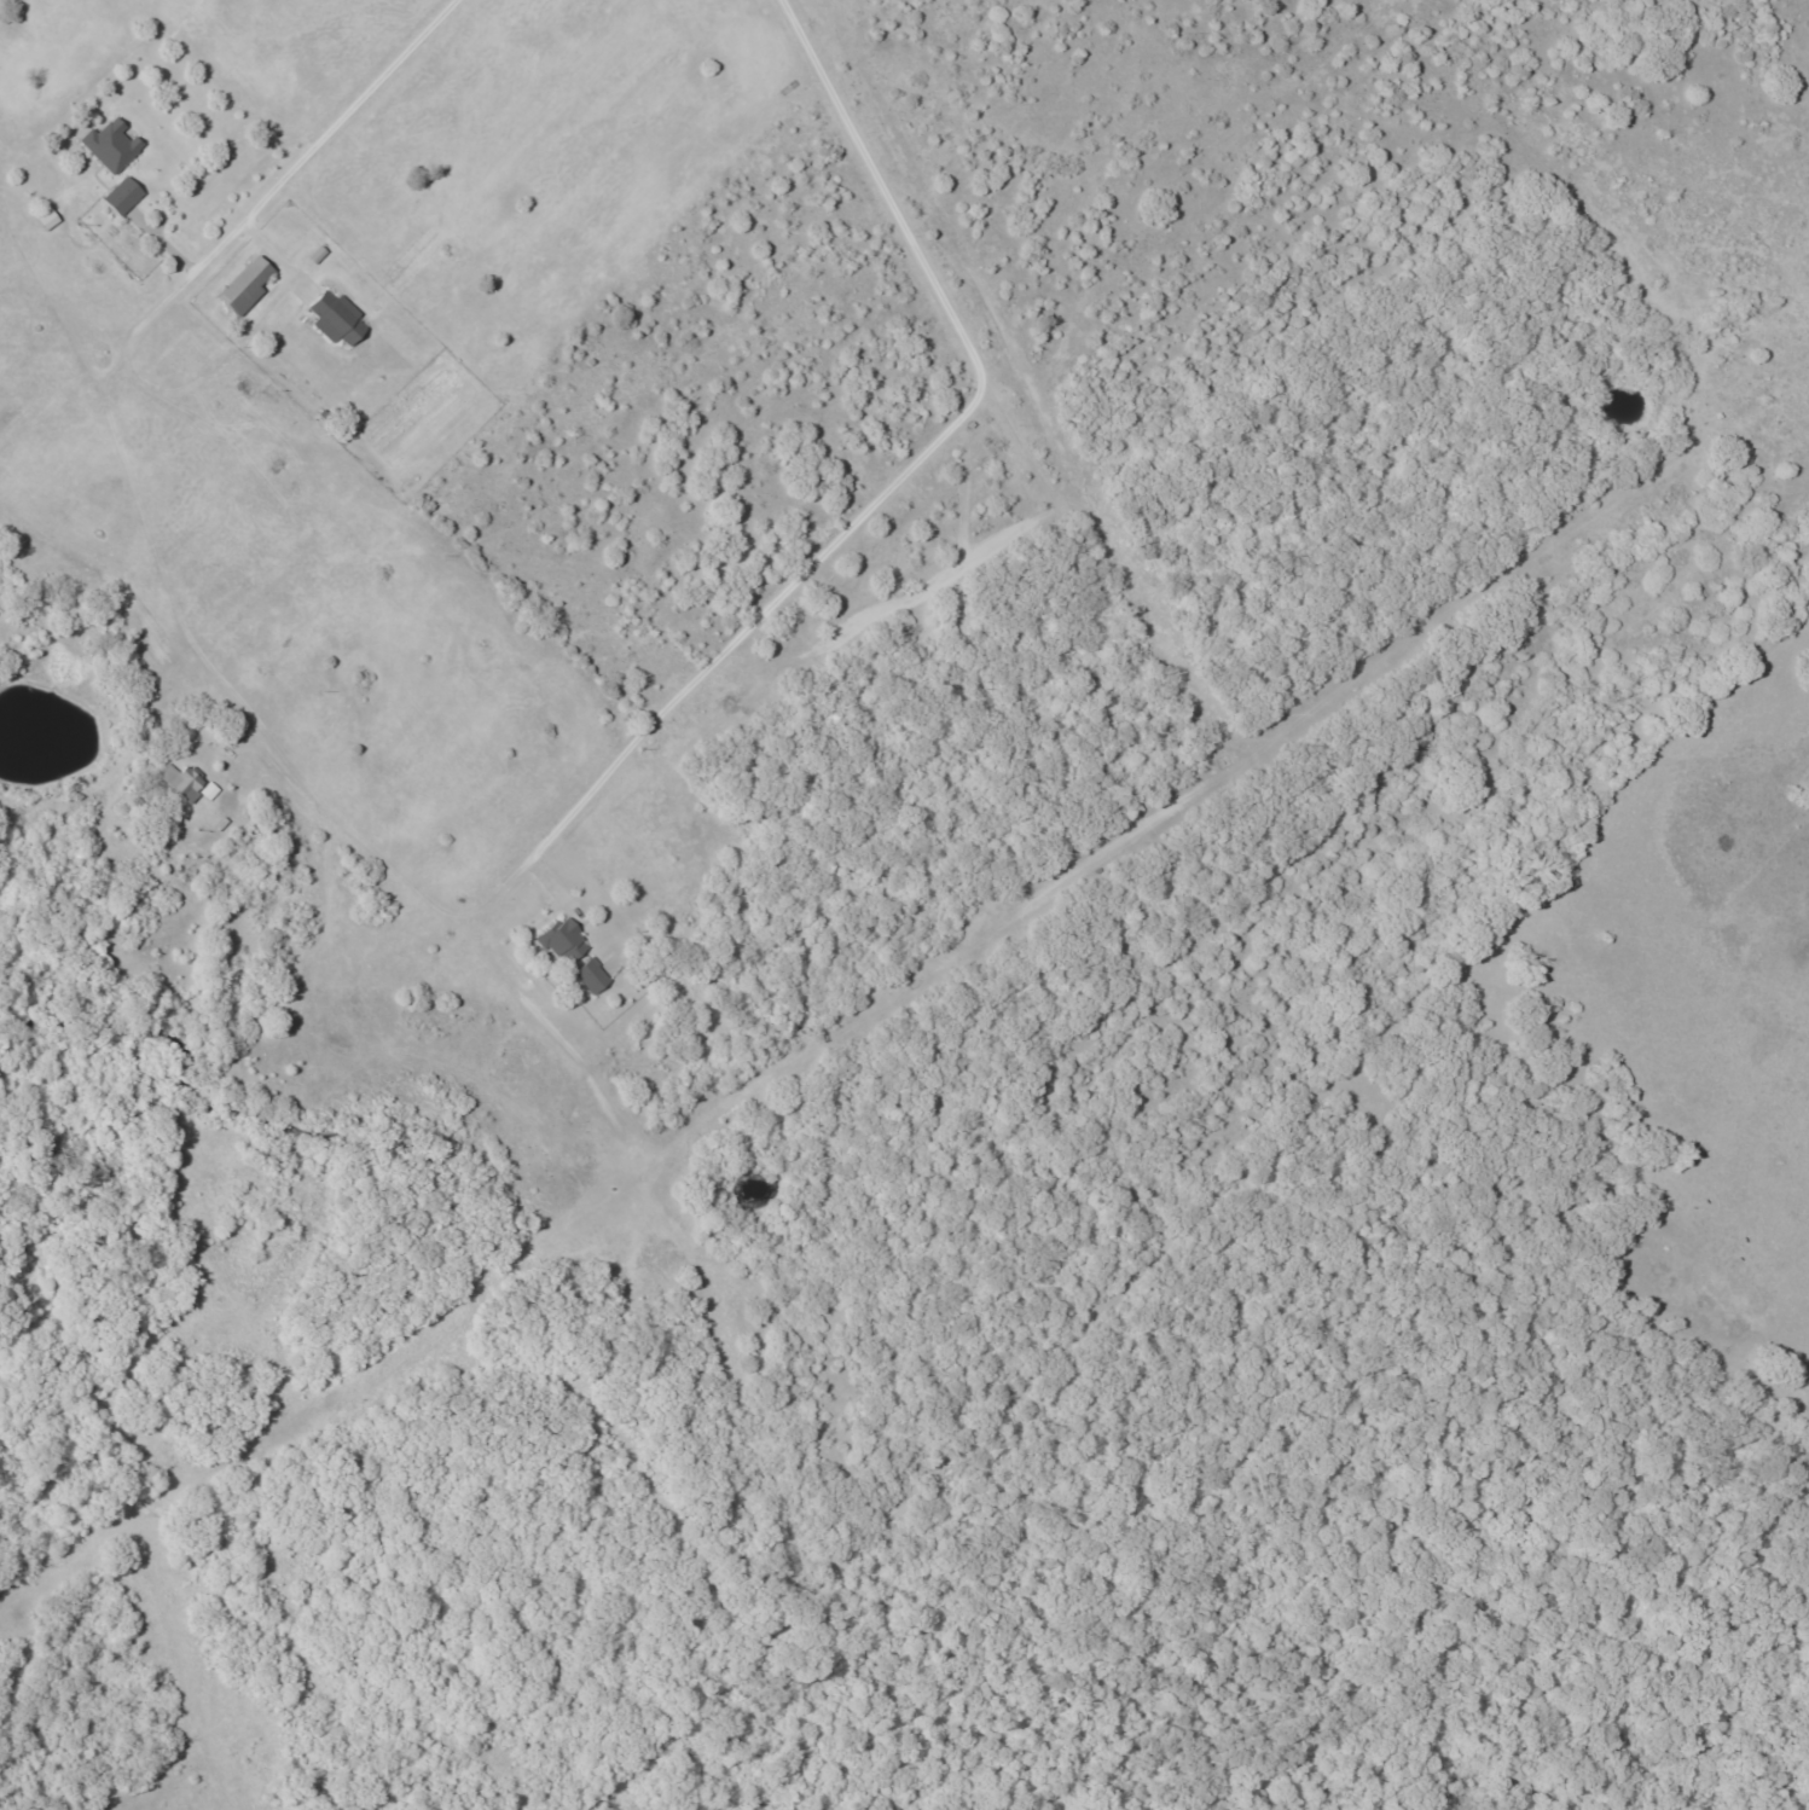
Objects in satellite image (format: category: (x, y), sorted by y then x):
road: (827, 83)
building: (112, 146)
road: (302, 161)
building: (124, 196)
road: (277, 257)
building: (248, 285)
building: (338, 319)

